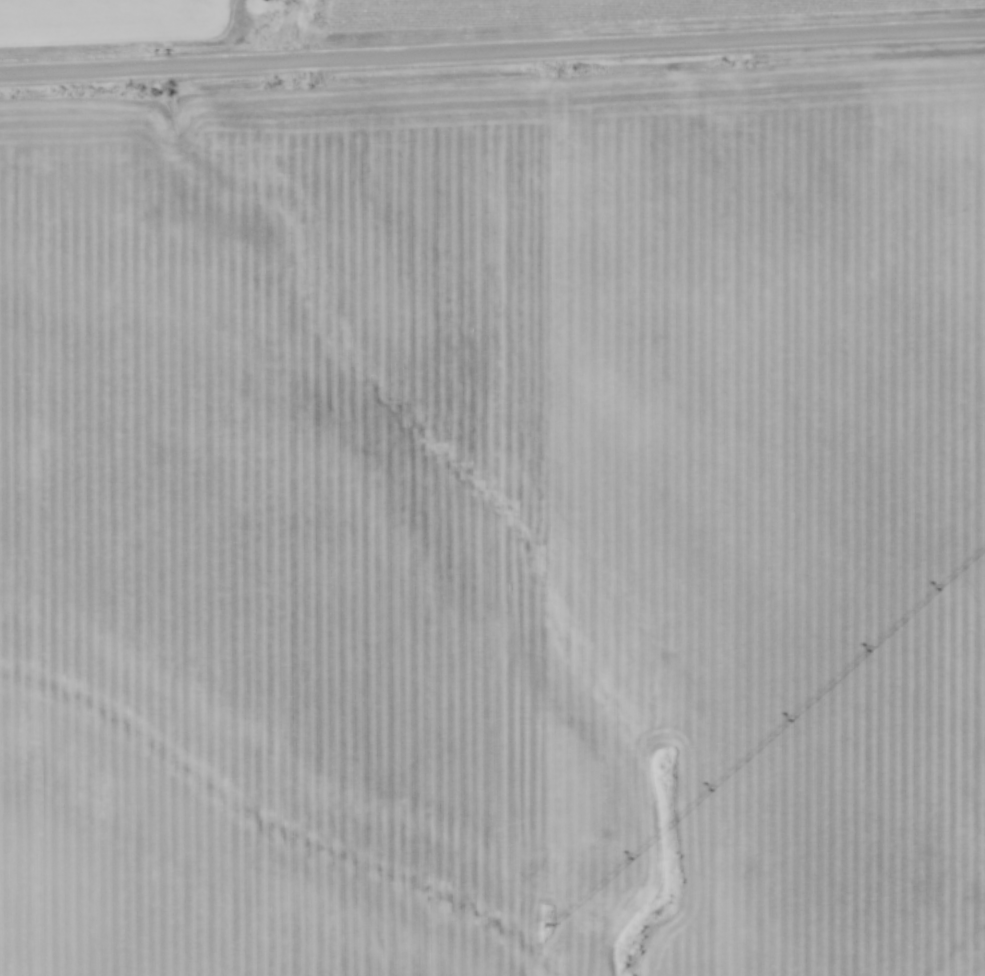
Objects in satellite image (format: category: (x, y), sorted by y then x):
crop: (581, 12)
crop: (108, 21)
road: (492, 53)
crop: (715, 440)
crop: (259, 624)

